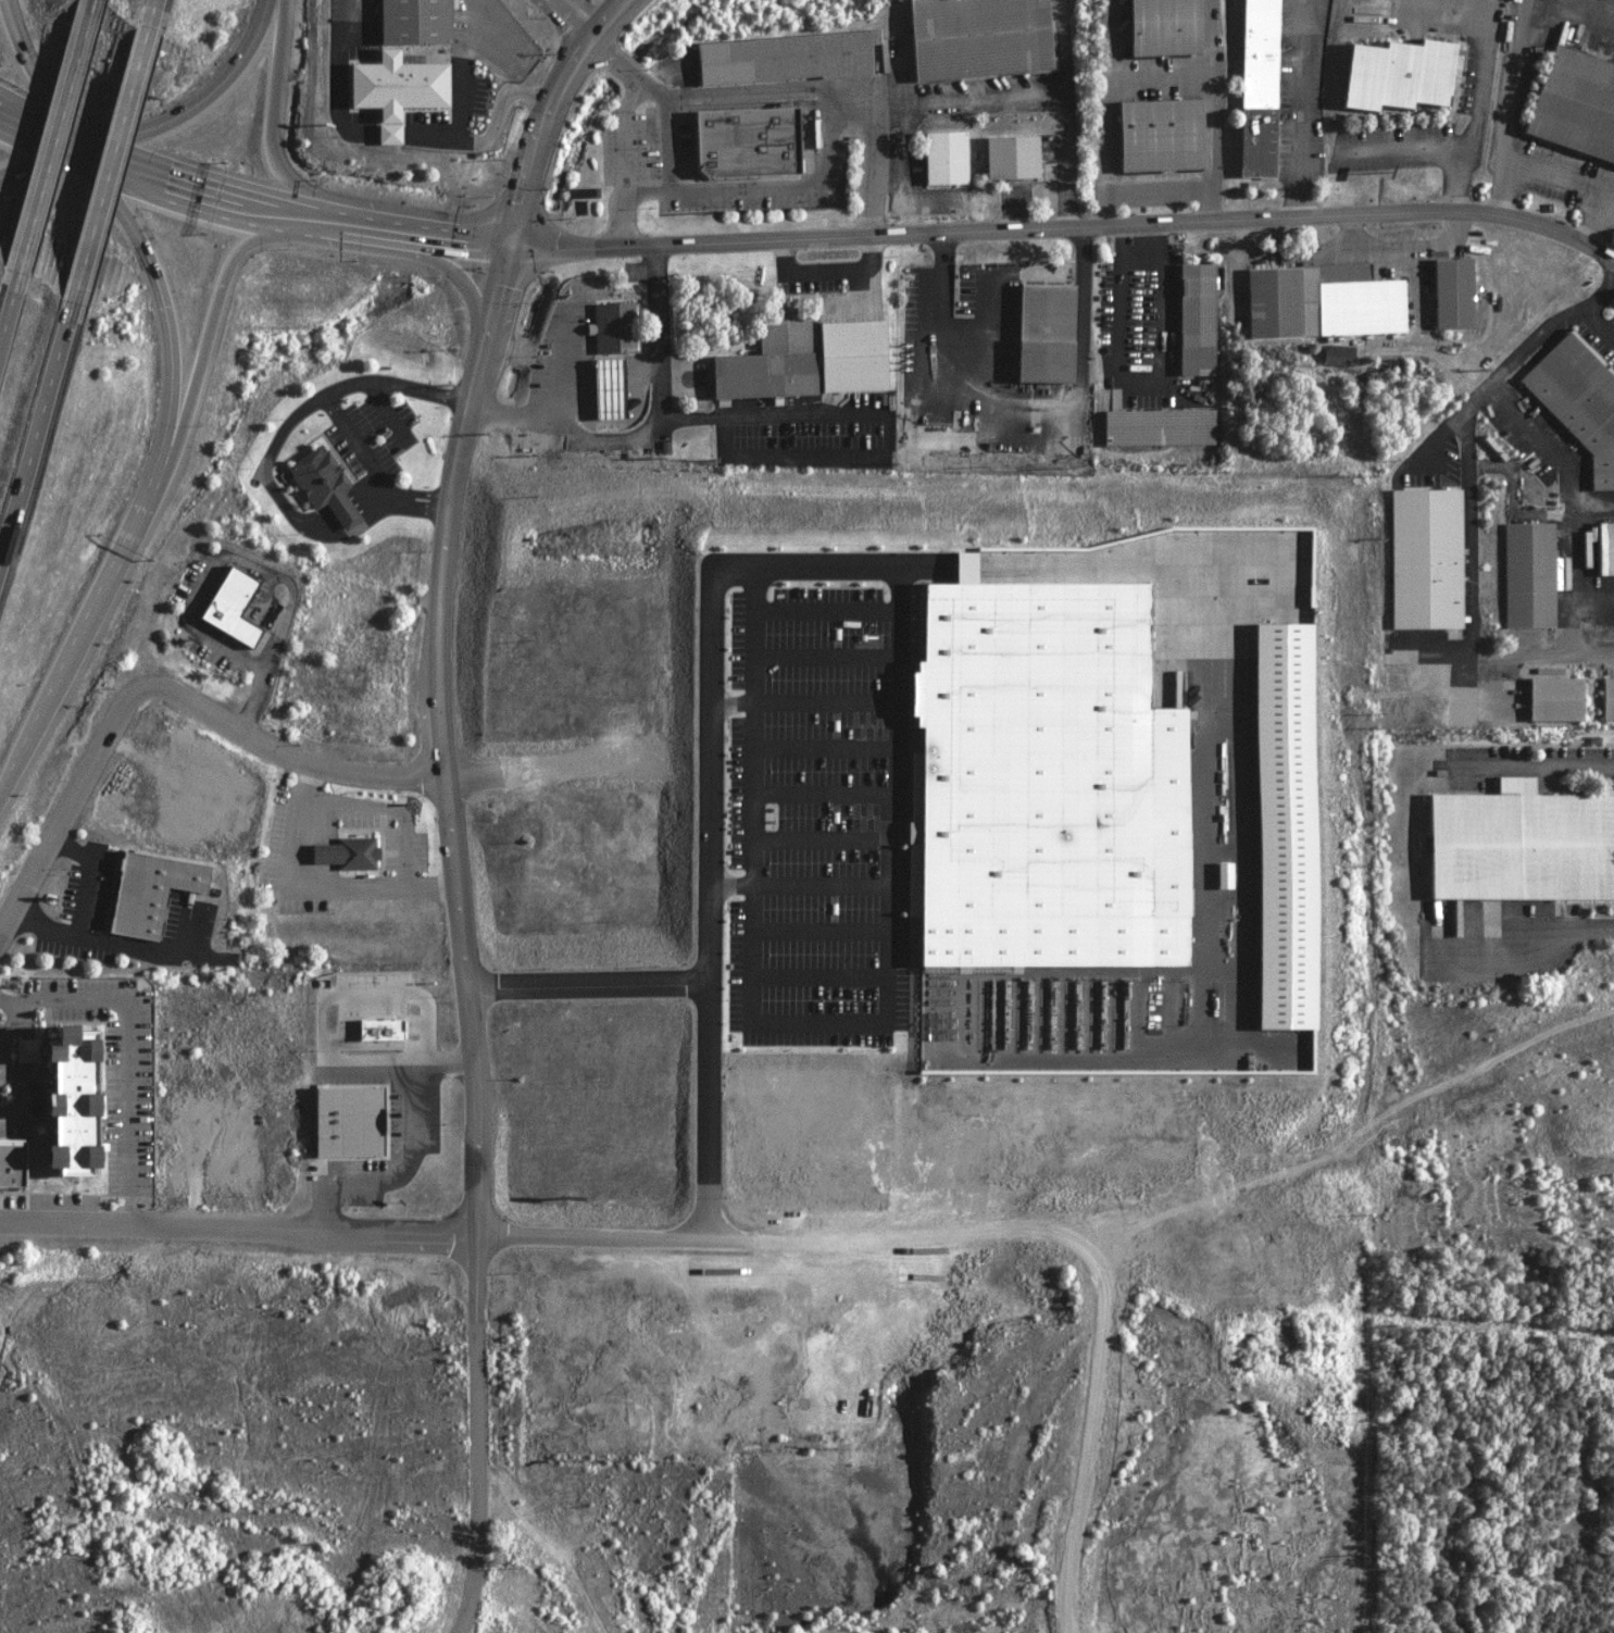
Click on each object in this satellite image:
road: (96, 2)
road: (150, 8)
road: (565, 18)
building: (411, 22)
building: (1159, 27)
building: (975, 38)
building: (783, 59)
building: (1397, 76)
road: (41, 78)
road: (791, 84)
building: (1255, 88)
building: (391, 90)
road: (1044, 96)
road: (202, 101)
road: (1506, 105)
building: (1574, 105)
road: (1303, 108)
road: (276, 113)
road: (43, 125)
road: (622, 127)
road: (454, 132)
road: (54, 135)
road: (664, 135)
building: (1158, 136)
building: (742, 144)
traffic signals: (87, 149)
building: (944, 159)
building: (1010, 159)
road: (104, 160)
road: (42, 161)
road: (739, 179)
road: (197, 189)
road: (1067, 226)
road: (1602, 228)
road: (411, 234)
traffic signals: (512, 246)
road: (826, 265)
road: (150, 272)
road: (7, 289)
road: (220, 291)
building: (1452, 292)
building: (1323, 301)
building: (1197, 319)
road: (1599, 323)
building: (611, 326)
building: (1042, 332)
building: (1338, 354)
building: (802, 358)
building: (604, 388)
building: (1578, 401)
road: (764, 406)
road: (329, 407)
road: (642, 420)
road: (30, 423)
building: (1161, 427)
building: (320, 484)
road: (1576, 496)
road: (1469, 502)
building: (1604, 547)
building: (1424, 558)
road: (774, 560)
building: (1528, 574)
road: (98, 595)
road: (826, 603)
building: (228, 606)
building: (1454, 633)
road: (157, 686)
road: (803, 695)
building: (1553, 698)
building: (1607, 699)
road: (751, 716)
road: (1537, 765)
building: (1041, 778)
road: (821, 783)
road: (4, 786)
road: (442, 799)
building: (1280, 825)
building: (1521, 844)
building: (343, 852)
road: (818, 875)
building: (145, 892)
road: (748, 923)
road: (1578, 933)
road: (5, 1025)
building: (376, 1029)
road: (126, 1051)
building: (65, 1100)
road: (704, 1106)
building: (343, 1121)
building: (10, 1162)
road: (238, 1223)
road: (915, 1249)

